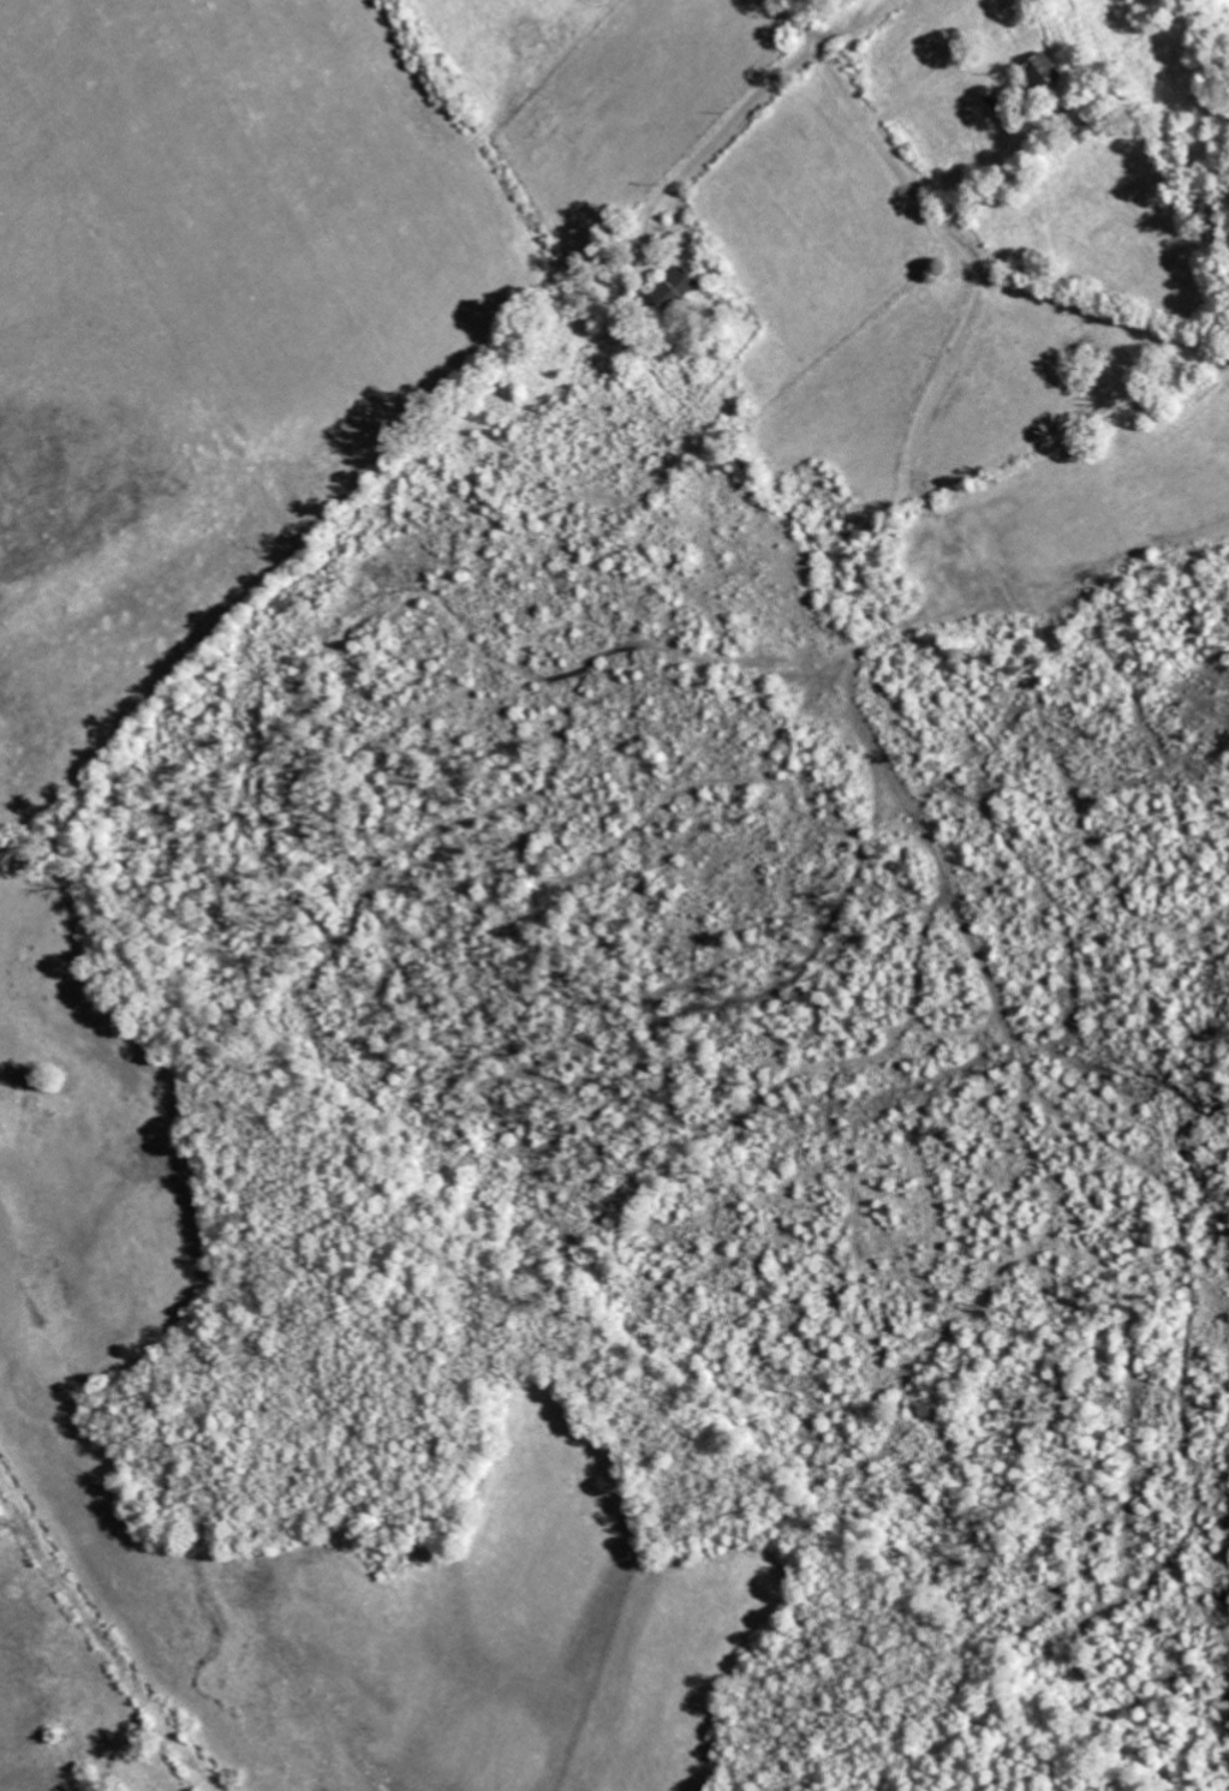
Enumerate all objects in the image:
road: (884, 26)
building: (681, 288)

